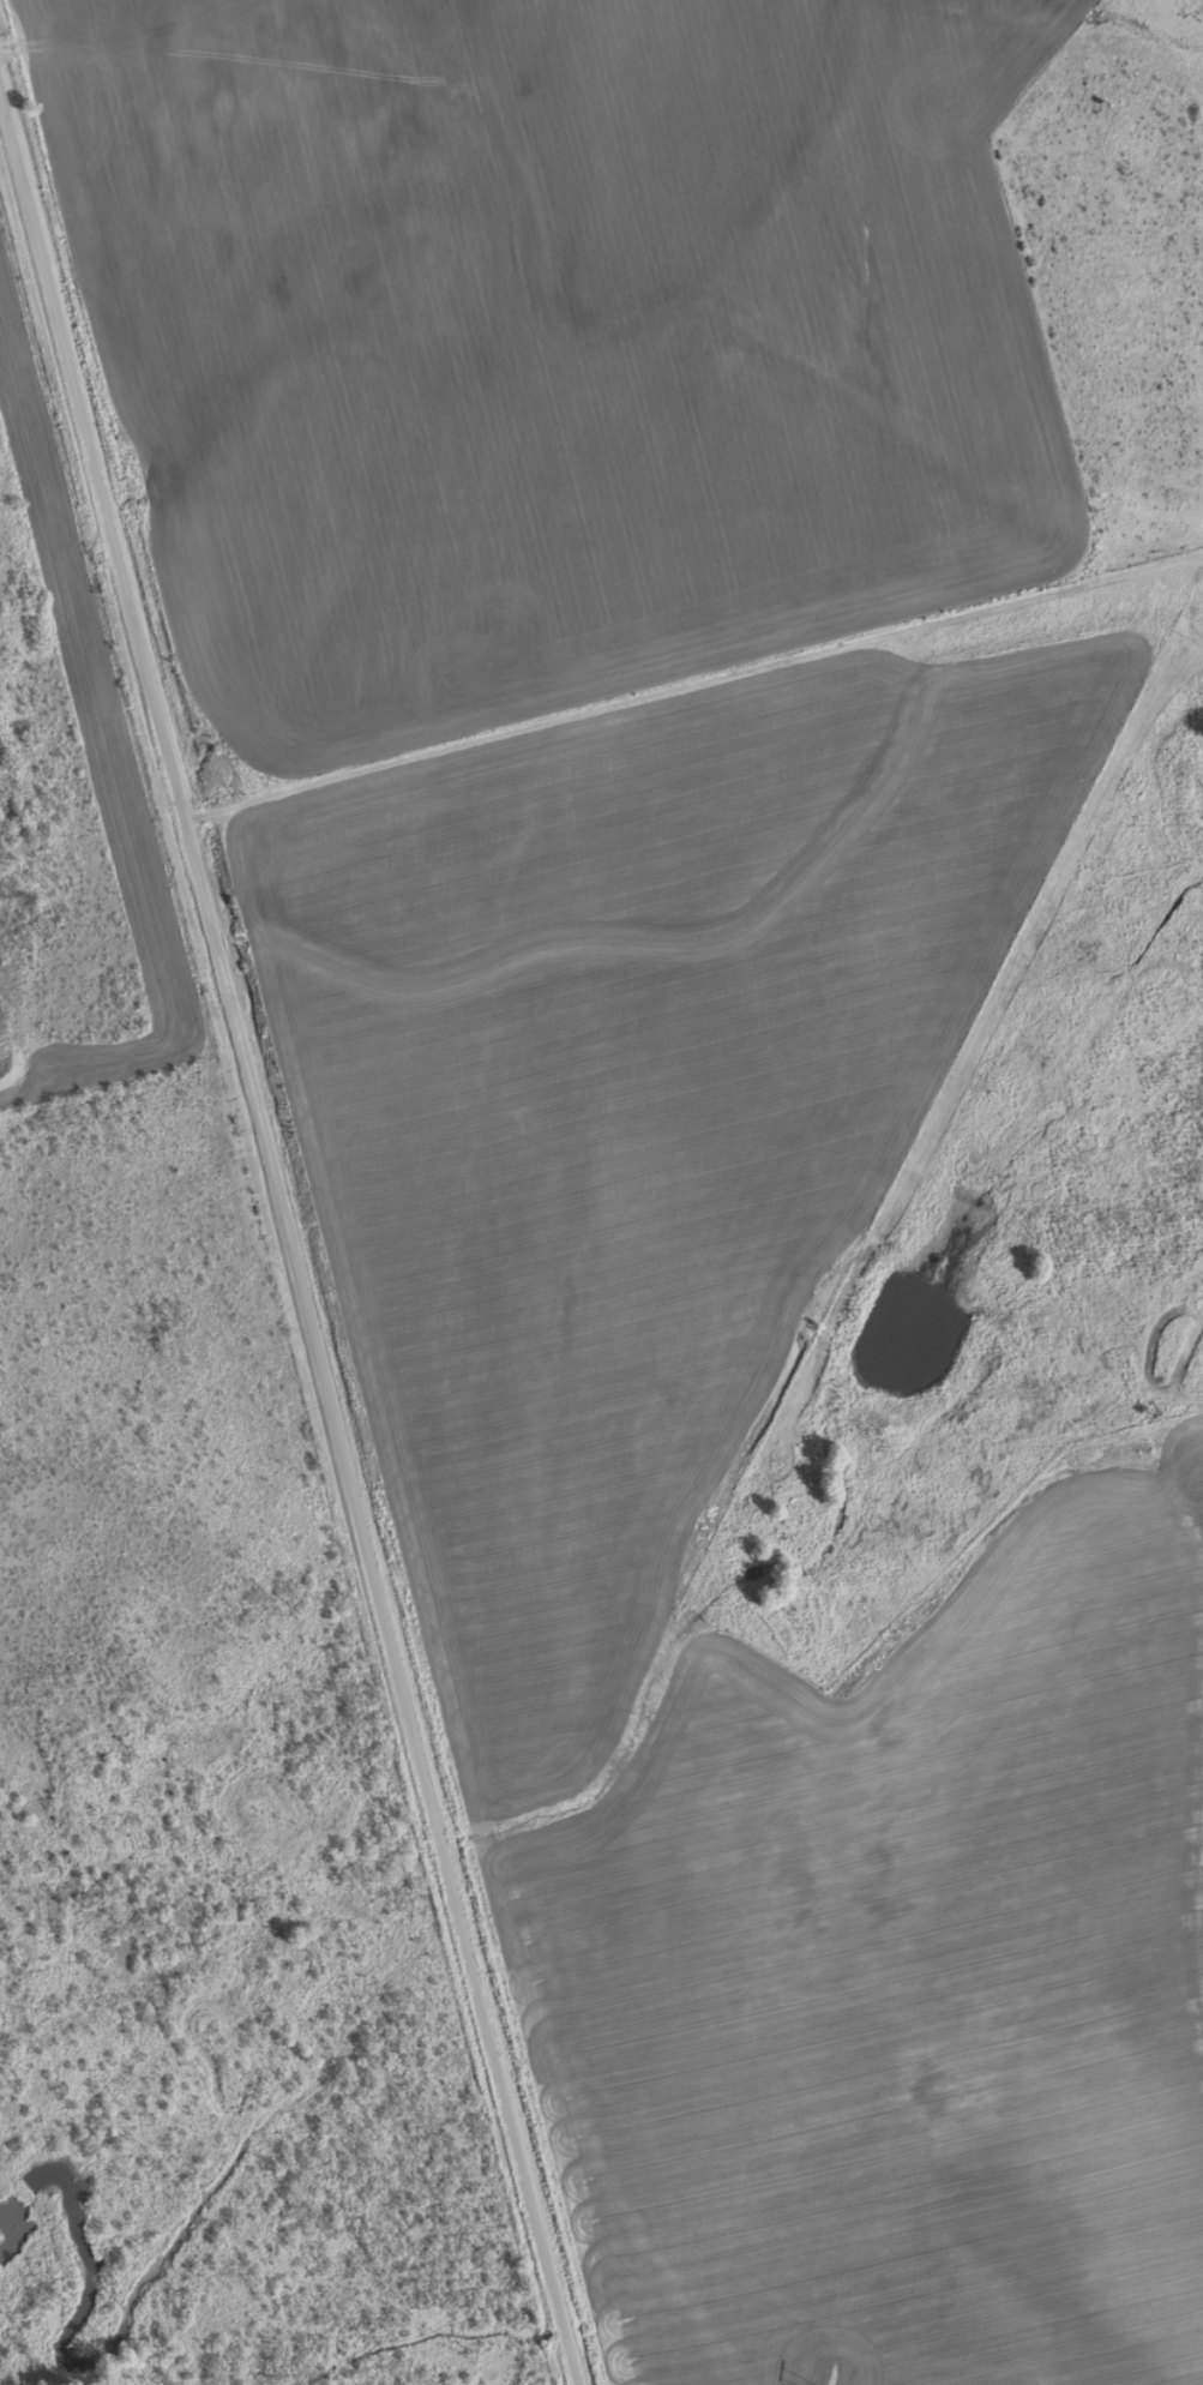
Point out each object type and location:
road: (271, 1255)
power tower: (62, 2303)
power tower: (467, 2356)

